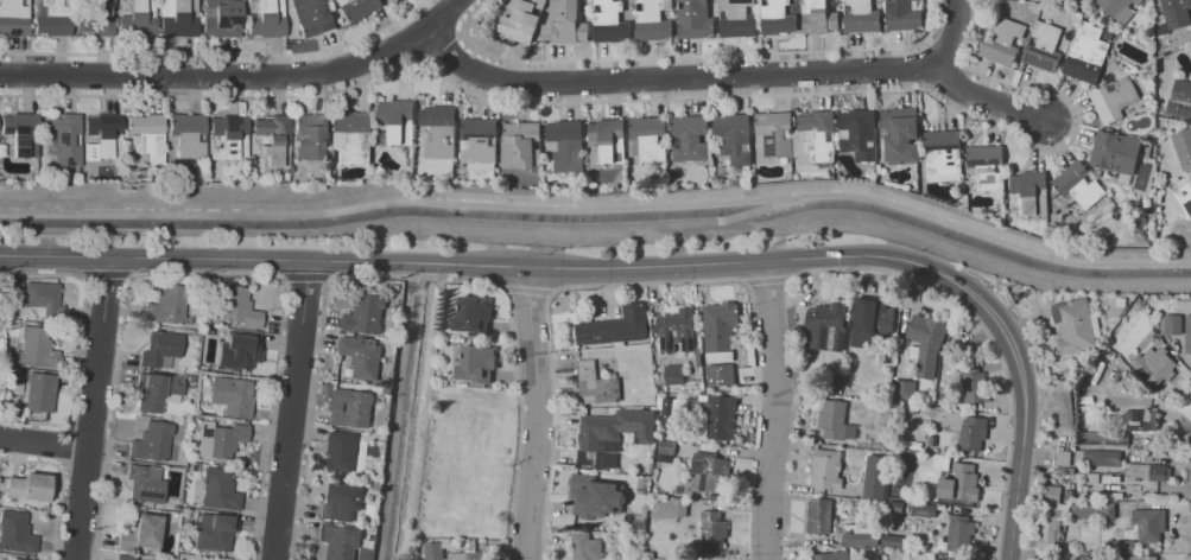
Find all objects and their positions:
building: (400, 0)
building: (391, 2)
building: (1119, 6)
building: (360, 7)
building: (1173, 12)
building: (905, 14)
road: (445, 15)
building: (862, 15)
building: (313, 17)
building: (821, 17)
building: (14, 18)
building: (53, 18)
building: (97, 18)
building: (180, 18)
building: (222, 18)
building: (737, 18)
building: (778, 18)
building: (140, 19)
building: (266, 19)
building: (695, 19)
building: (522, 20)
building: (653, 20)
building: (568, 21)
building: (610, 23)
building: (1088, 24)
building: (243, 27)
building: (1104, 32)
road: (952, 34)
building: (539, 39)
building: (676, 39)
building: (1003, 40)
building: (1151, 40)
building: (1018, 42)
building: (1044, 47)
building: (1161, 49)
road: (220, 55)
road: (690, 56)
building: (1087, 58)
road: (220, 77)
road: (673, 78)
road: (648, 97)
building: (1115, 98)
building: (1182, 98)
road: (986, 100)
building: (399, 120)
building: (1163, 123)
building: (441, 131)
building: (21, 133)
building: (860, 133)
building: (188, 134)
building: (775, 134)
building: (232, 135)
building: (901, 135)
building: (103, 136)
building: (355, 136)
building: (735, 136)
building: (816, 136)
building: (312, 138)
building: (691, 138)
building: (63, 139)
building: (146, 139)
building: (273, 139)
building: (608, 140)
building: (648, 140)
building: (480, 142)
building: (525, 144)
building: (568, 145)
building: (1183, 147)
building: (1116, 152)
building: (944, 155)
building: (410, 161)
building: (987, 166)
building: (723, 170)
building: (311, 171)
building: (381, 171)
building: (369, 179)
building: (1190, 182)
building: (1077, 186)
building: (1032, 191)
building: (957, 199)
building: (967, 202)
building: (1189, 205)
building: (1140, 219)
building: (1107, 241)
road: (443, 263)
building: (43, 300)
building: (169, 305)
building: (239, 307)
building: (366, 314)
building: (474, 316)
building: (875, 322)
building: (1170, 324)
building: (718, 325)
building: (1072, 325)
building: (825, 326)
building: (616, 327)
building: (677, 330)
building: (1187, 333)
building: (926, 342)
building: (160, 348)
building: (36, 349)
building: (239, 350)
building: (362, 357)
building: (477, 363)
building: (1154, 364)
building: (14, 373)
road: (1021, 374)
building: (721, 375)
building: (596, 384)
building: (976, 389)
building: (154, 390)
building: (906, 390)
building: (38, 393)
building: (232, 396)
building: (353, 408)
road: (93, 411)
road: (291, 411)
road: (775, 413)
road: (538, 414)
building: (721, 418)
building: (831, 420)
building: (1140, 420)
building: (974, 434)
building: (613, 435)
building: (1102, 439)
building: (152, 440)
building: (220, 440)
road: (44, 443)
building: (665, 448)
building: (342, 451)
building: (1100, 458)
building: (826, 469)
building: (709, 471)
building: (1149, 471)
building: (875, 478)
building: (959, 483)
building: (146, 484)
building: (28, 486)
building: (220, 491)
building: (596, 496)
building: (343, 502)
building: (670, 507)
building: (921, 509)
building: (1083, 510)
building: (822, 516)
building: (1050, 516)
building: (1148, 523)
building: (712, 529)
building: (215, 532)
building: (15, 533)
building: (141, 533)
building: (959, 533)
building: (860, 540)
building: (341, 541)
building: (585, 547)
building: (431, 551)
building: (469, 555)
building: (123, 556)
building: (823, 556)
building: (1141, 558)
building: (17, 559)
building: (955, 559)

